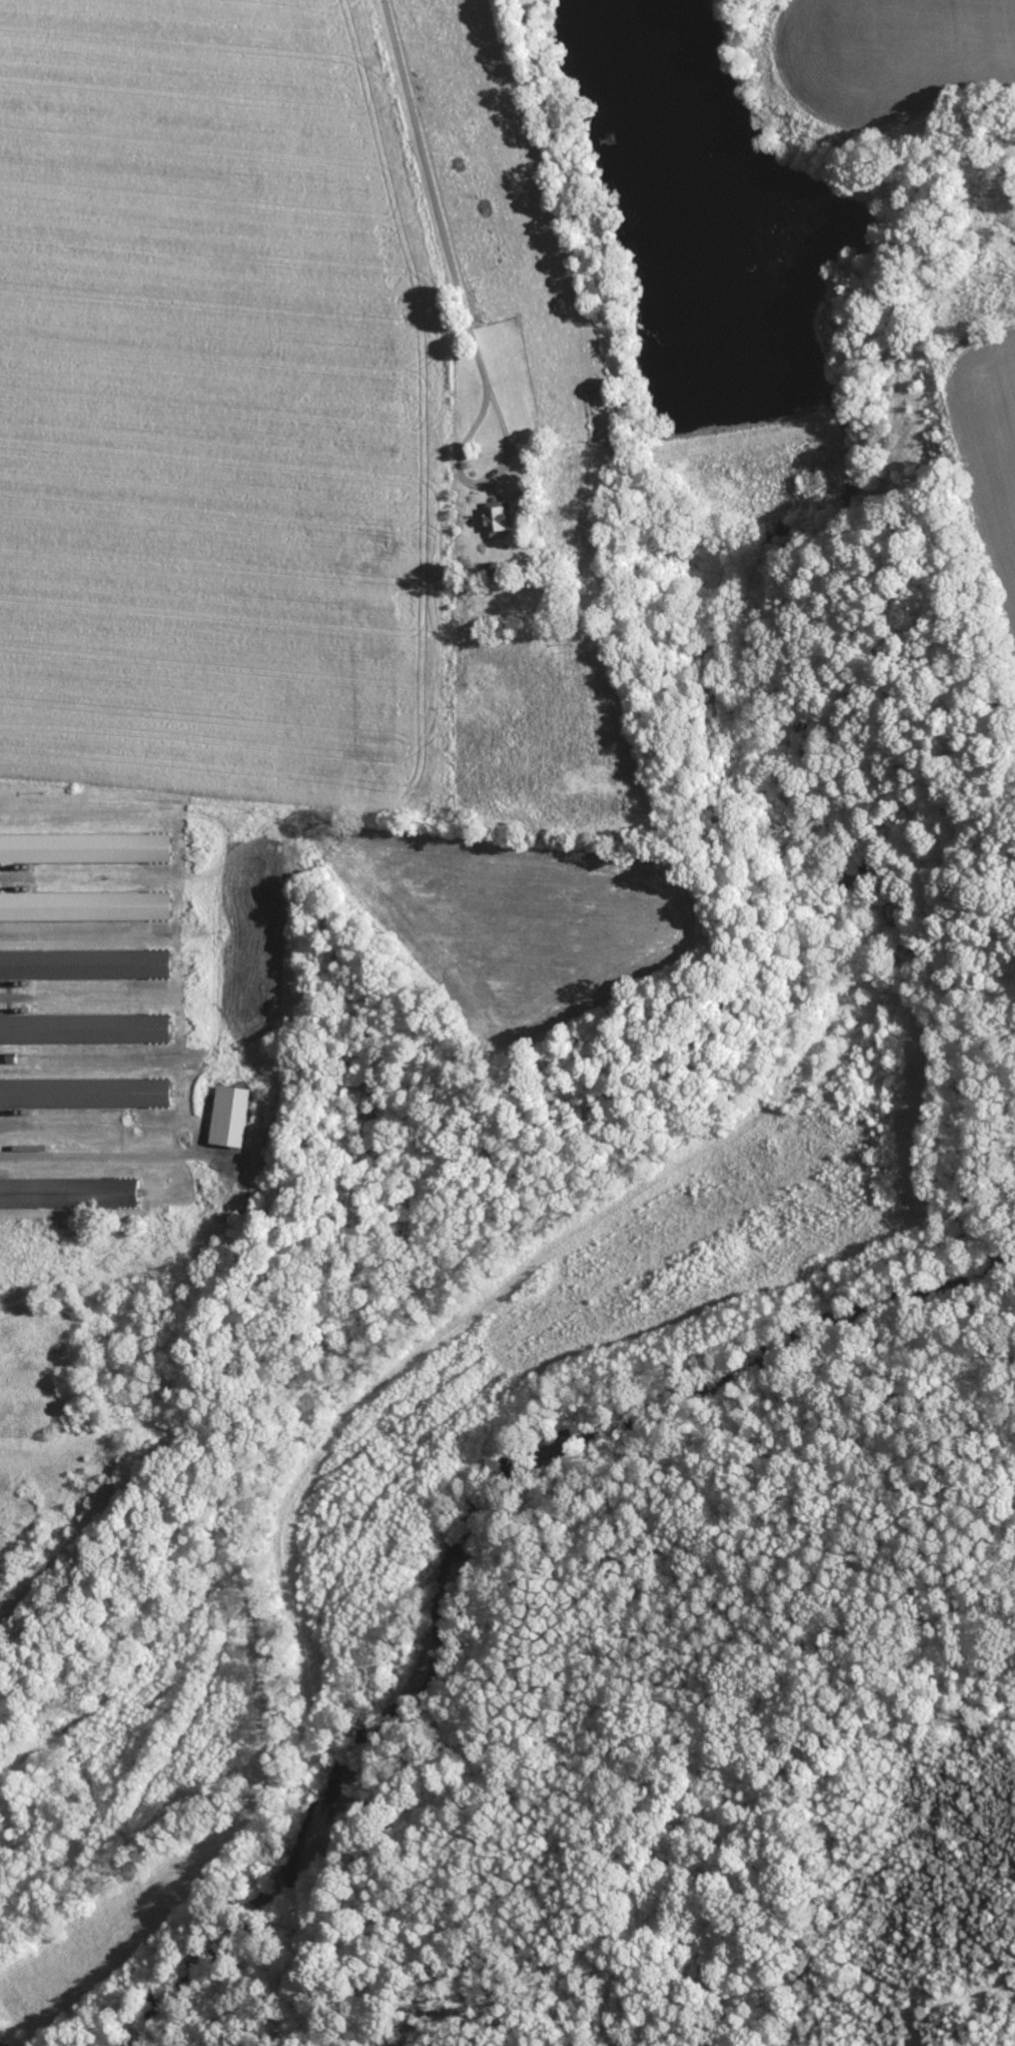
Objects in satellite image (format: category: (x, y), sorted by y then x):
building: (497, 521)
building: (86, 847)
building: (86, 905)
building: (86, 963)
building: (86, 1028)
building: (86, 1092)
building: (231, 1115)
building: (70, 1193)

